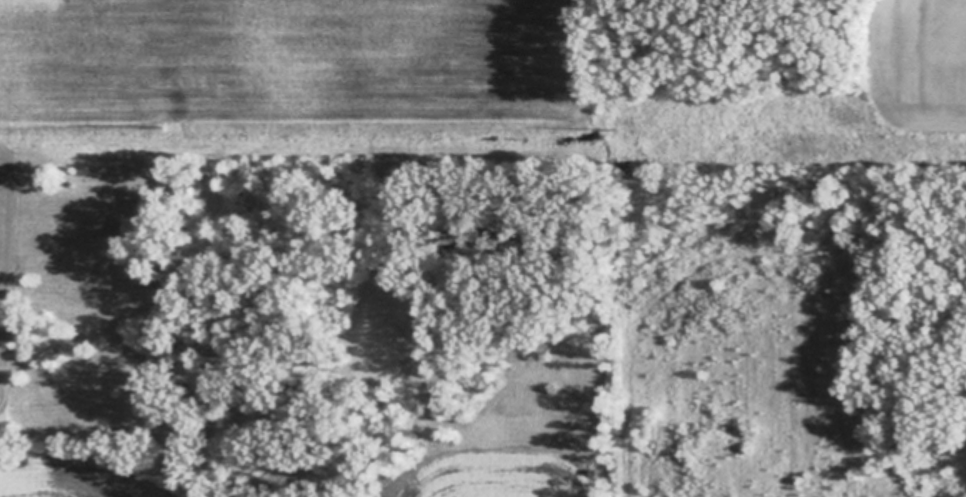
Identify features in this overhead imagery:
power tower: (162, 127)
power tower: (631, 135)

